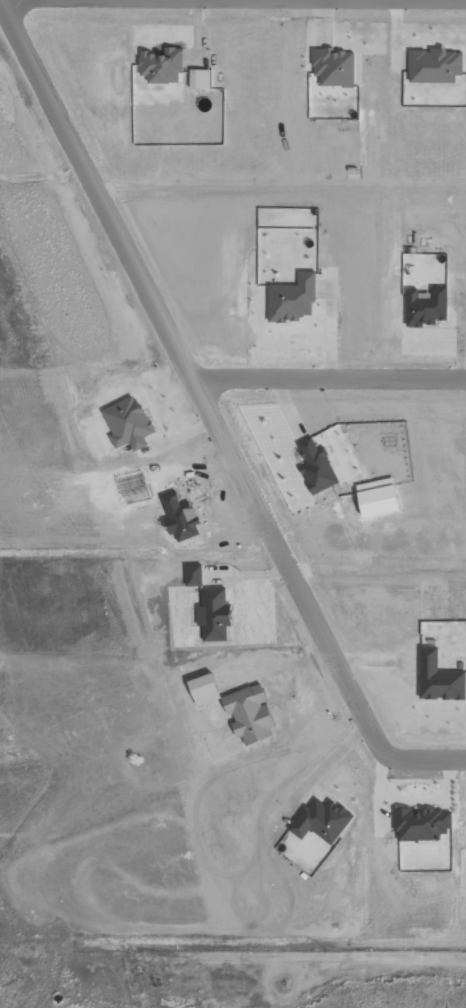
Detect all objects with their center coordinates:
road: (3, 0)
building: (161, 65)
building: (433, 65)
building: (333, 66)
building: (291, 299)
building: (425, 307)
road: (189, 375)
road: (330, 378)
building: (127, 423)
building: (315, 466)
building: (377, 496)
building: (193, 574)
building: (213, 612)
building: (438, 677)
building: (203, 689)
road: (419, 760)
building: (321, 820)
building: (420, 823)

